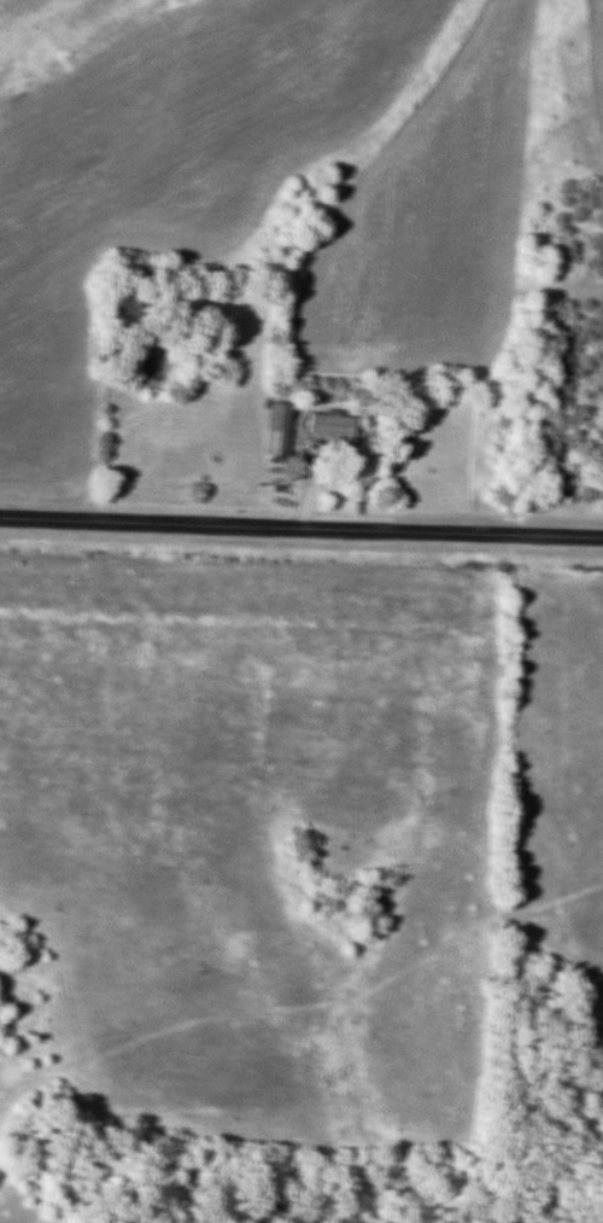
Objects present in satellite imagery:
building: (329, 424)
building: (275, 429)
road: (300, 529)

